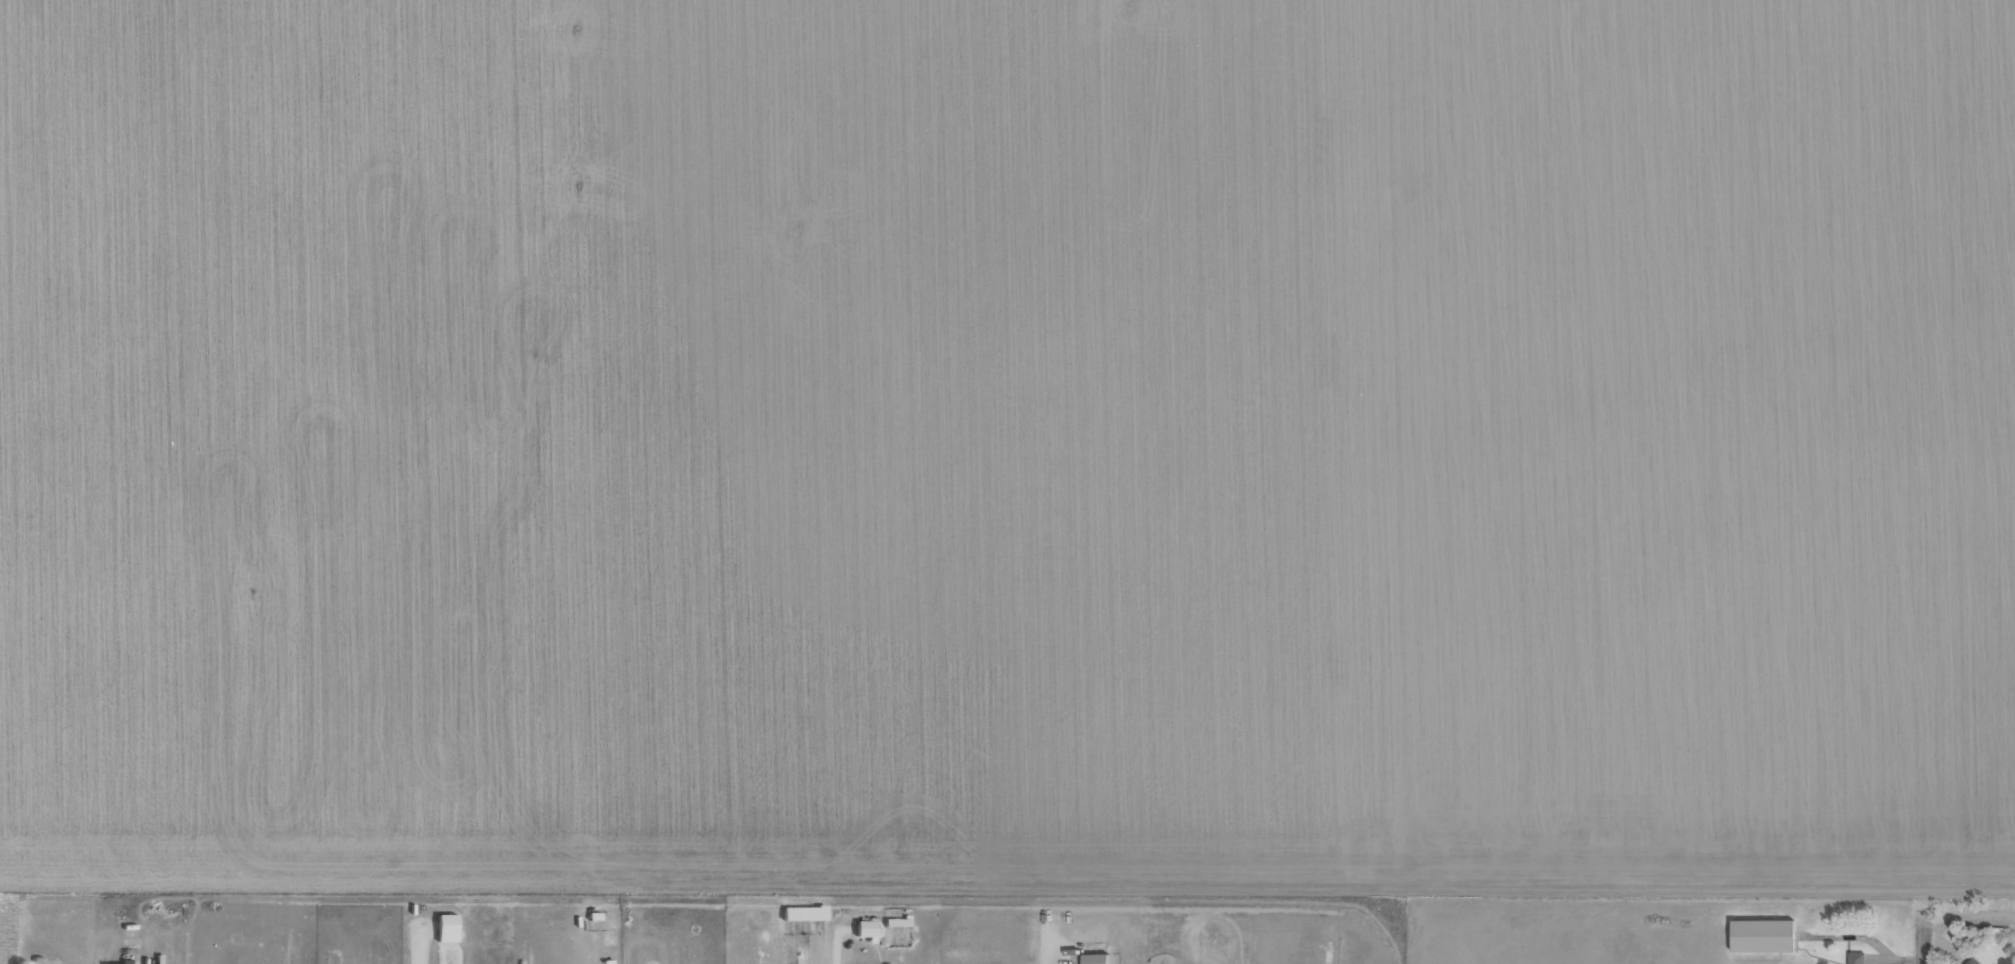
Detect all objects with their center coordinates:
building: (802, 913)
building: (895, 922)
building: (445, 928)
building: (864, 929)
building: (1761, 935)
road: (1921, 935)
building: (1094, 958)
building: (1855, 958)
building: (1970, 961)

